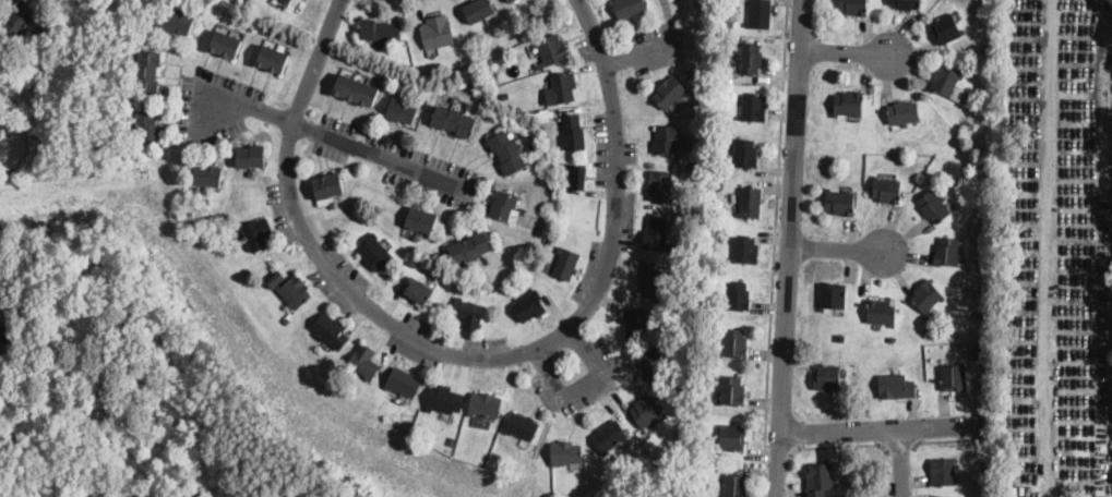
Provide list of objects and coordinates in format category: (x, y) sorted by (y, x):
building: (509, 0)
building: (287, 1)
building: (244, 2)
building: (906, 4)
building: (630, 7)
building: (853, 7)
building: (183, 8)
building: (478, 10)
building: (522, 10)
building: (732, 14)
building: (760, 14)
building: (20, 16)
building: (178, 22)
building: (729, 24)
building: (374, 28)
building: (946, 28)
building: (437, 32)
building: (225, 44)
building: (551, 49)
road: (844, 51)
road: (642, 52)
building: (404, 56)
building: (750, 58)
building: (272, 59)
building: (132, 63)
building: (147, 72)
building: (130, 80)
building: (948, 83)
building: (561, 88)
building: (356, 90)
building: (408, 93)
building: (670, 93)
building: (505, 95)
building: (452, 99)
building: (848, 104)
building: (467, 105)
building: (753, 108)
building: (402, 110)
building: (904, 112)
building: (713, 114)
building: (453, 120)
building: (147, 126)
building: (132, 128)
building: (572, 132)
road: (330, 136)
building: (667, 141)
building: (850, 145)
building: (528, 147)
building: (507, 151)
building: (744, 153)
building: (250, 156)
building: (851, 160)
building: (924, 161)
building: (830, 168)
building: (250, 173)
building: (206, 174)
building: (576, 177)
building: (328, 185)
building: (659, 186)
building: (886, 190)
building: (204, 191)
building: (840, 202)
building: (750, 203)
building: (332, 204)
building: (503, 205)
building: (721, 206)
building: (933, 206)
building: (522, 210)
building: (420, 219)
building: (256, 233)
building: (656, 233)
building: (414, 237)
building: (470, 247)
road: (774, 247)
road: (790, 248)
road: (838, 248)
building: (744, 250)
building: (947, 251)
building: (374, 253)
building: (414, 259)
building: (487, 260)
building: (565, 263)
building: (985, 263)
building: (473, 268)
building: (275, 279)
building: (654, 284)
building: (294, 291)
building: (419, 291)
building: (926, 295)
building: (738, 296)
building: (833, 296)
building: (528, 305)
building: (881, 312)
building: (468, 313)
building: (980, 313)
building: (286, 322)
building: (635, 323)
building: (330, 330)
building: (840, 336)
building: (2, 337)
building: (892, 338)
building: (734, 343)
building: (976, 351)
road: (465, 356)
building: (363, 362)
building: (650, 363)
building: (826, 377)
building: (954, 377)
building: (403, 381)
building: (896, 386)
road: (583, 388)
building: (732, 390)
building: (444, 399)
building: (485, 404)
building: (647, 411)
building: (522, 426)
road: (880, 428)
building: (682, 433)
building: (609, 436)
building: (732, 437)
building: (451, 439)
road: (945, 439)
road: (834, 446)
road: (899, 447)
building: (565, 452)
building: (698, 453)
road: (779, 454)
road: (902, 461)
building: (943, 471)
building: (983, 472)
building: (818, 480)
building: (734, 484)
building: (947, 496)

